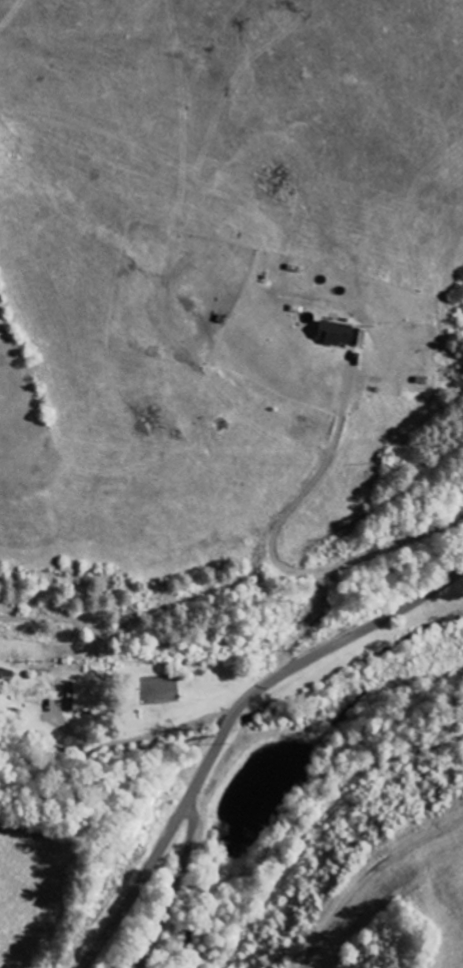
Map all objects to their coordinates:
building: (343, 334)
road: (275, 552)
road: (300, 661)
building: (84, 698)
road: (133, 741)
road: (187, 805)
road: (135, 887)
road: (169, 889)

